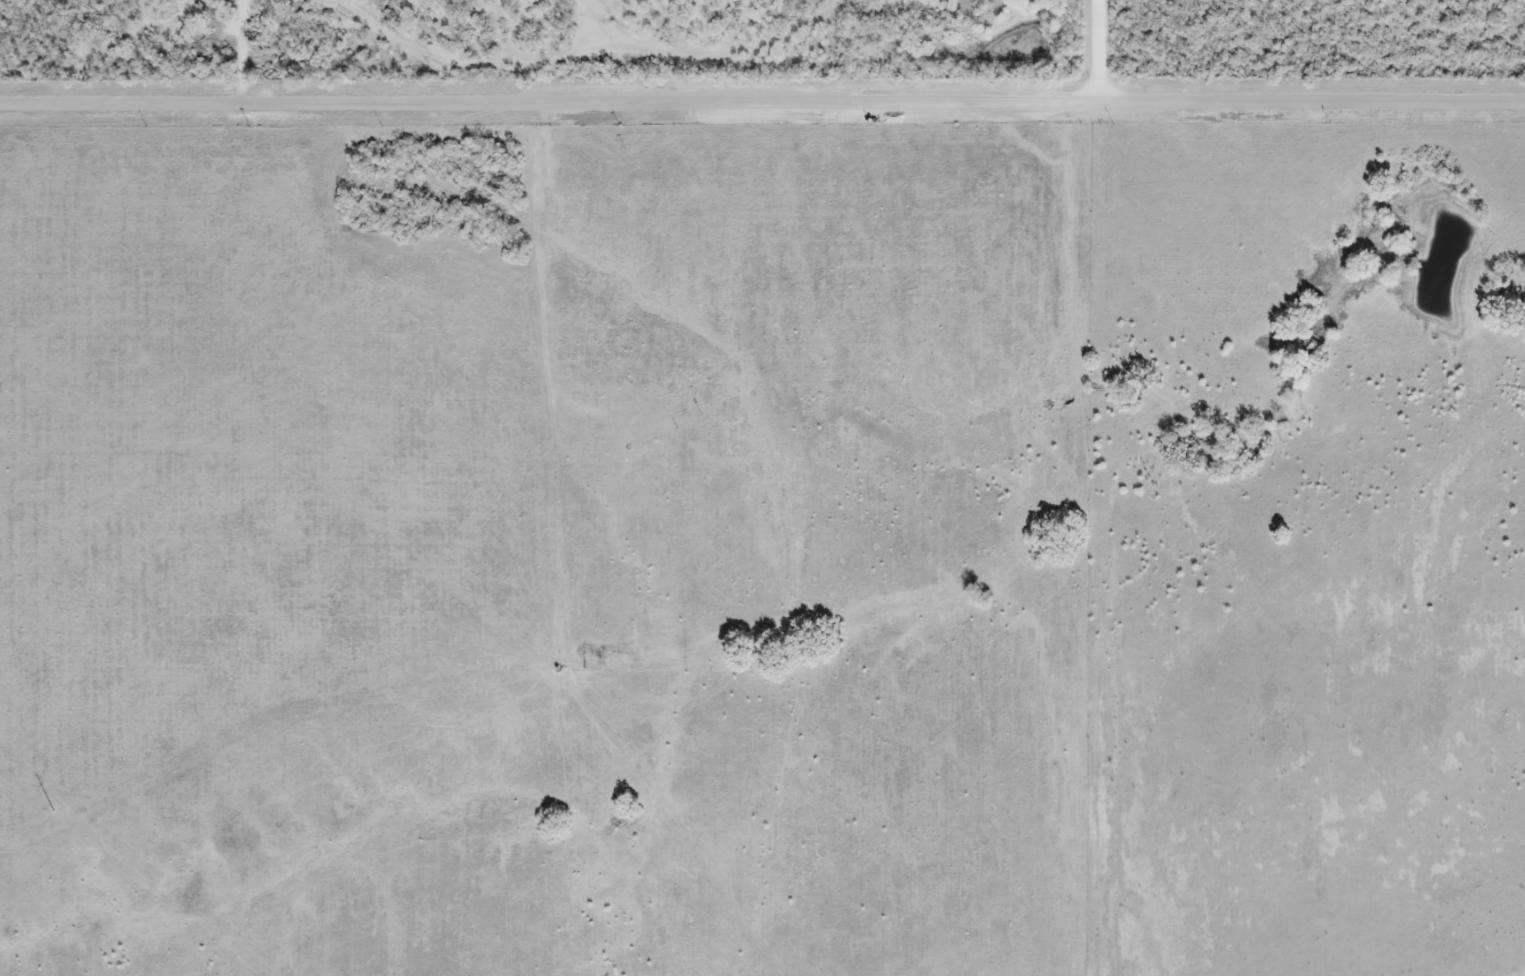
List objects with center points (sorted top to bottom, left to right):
road: (1097, 52)
road: (762, 102)
power tower: (46, 807)

